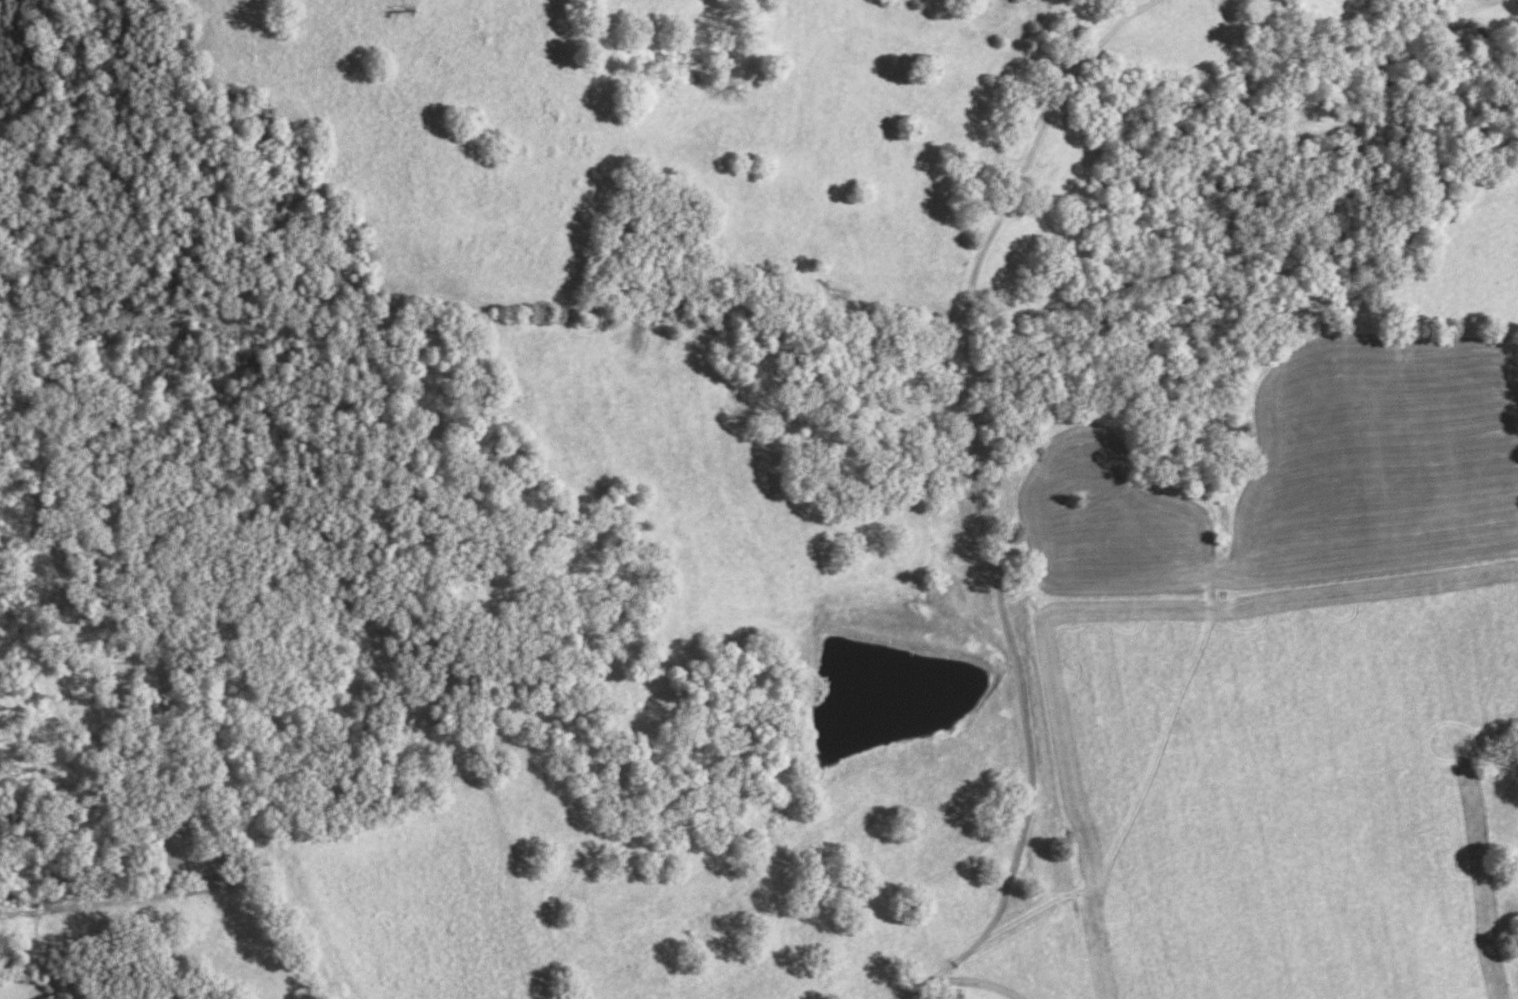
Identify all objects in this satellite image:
road: (979, 484)
road: (955, 989)

